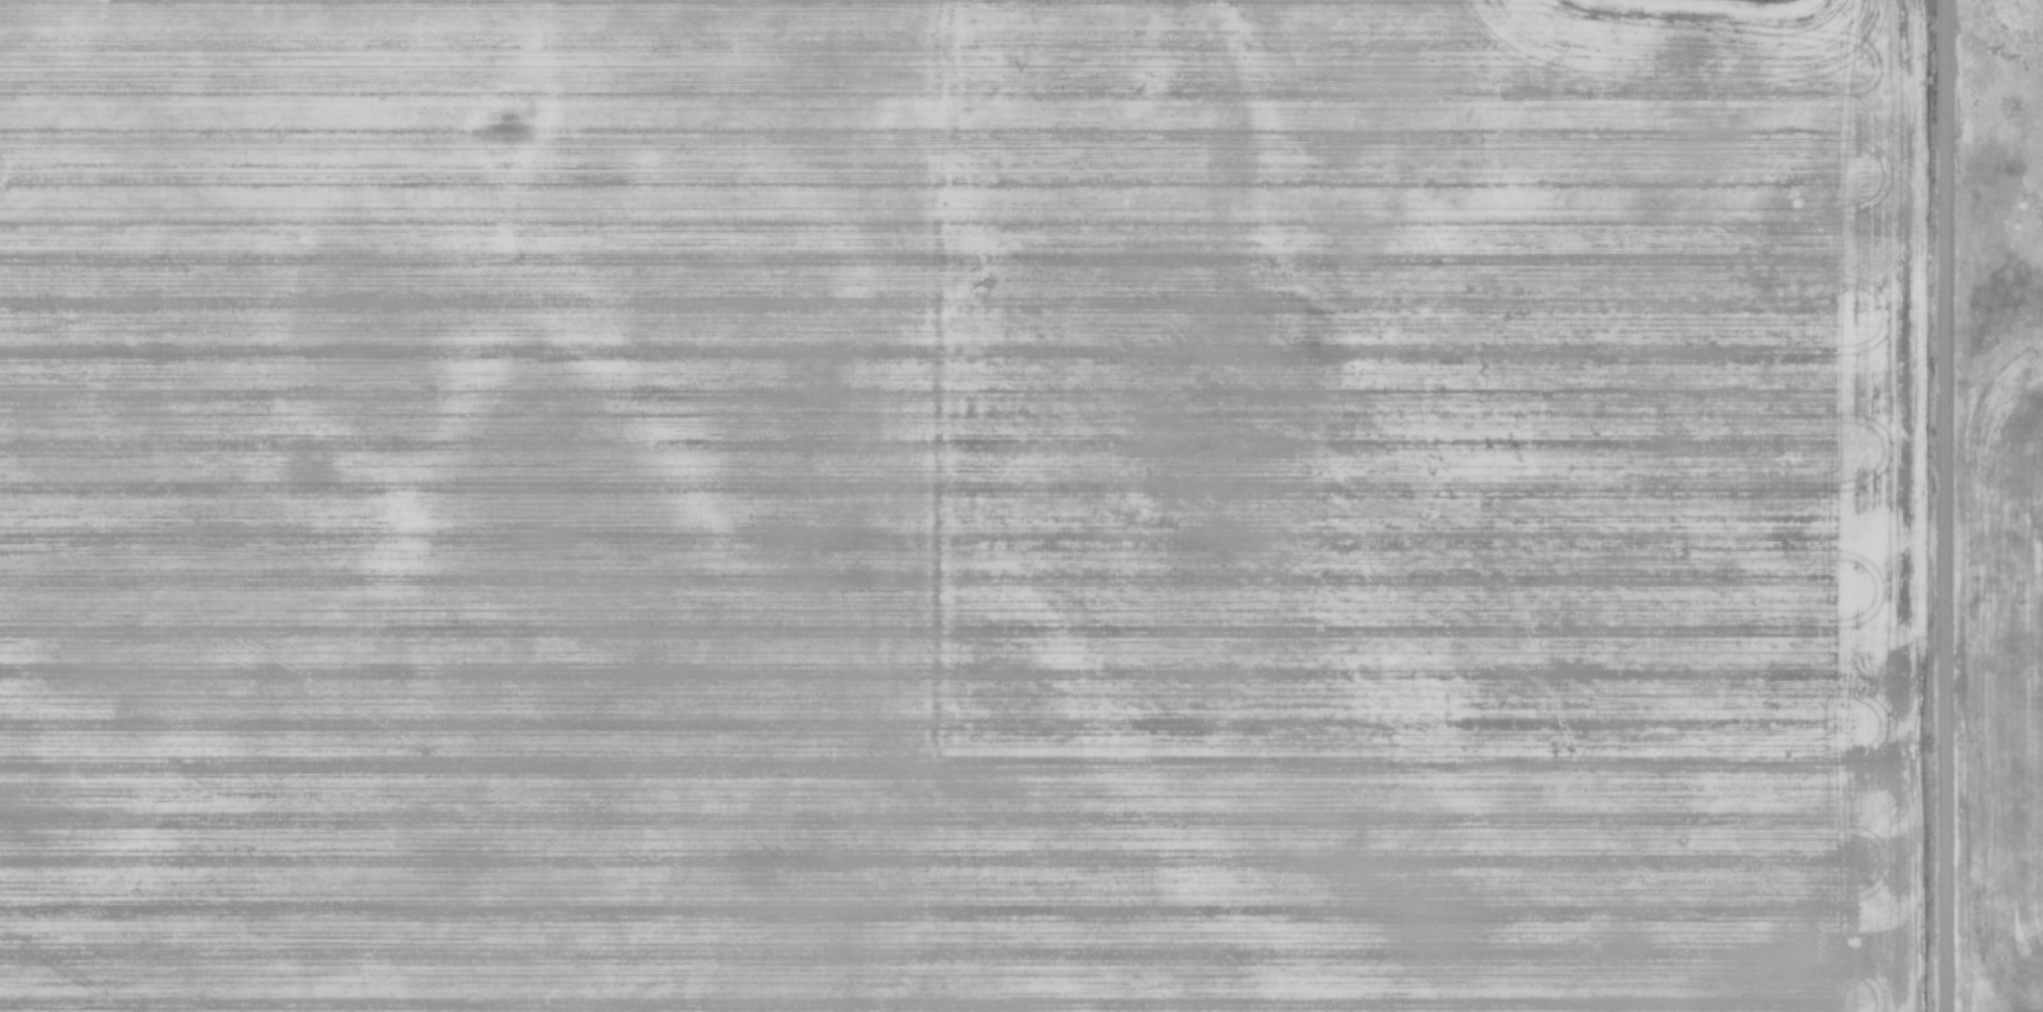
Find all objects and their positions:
road: (1947, 506)

